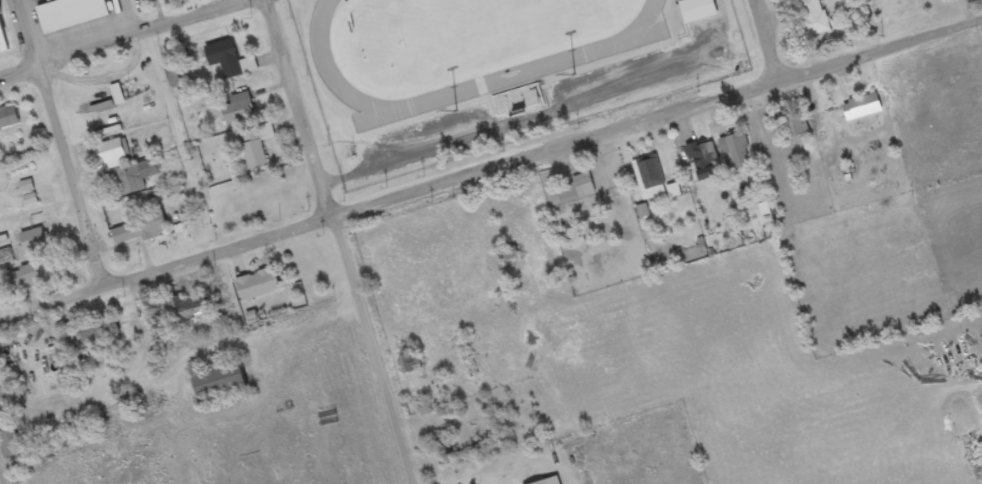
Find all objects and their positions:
building: (698, 12)
building: (71, 15)
building: (813, 18)
road: (772, 38)
road: (122, 39)
building: (3, 43)
building: (225, 60)
building: (175, 77)
building: (117, 96)
building: (862, 109)
road: (306, 111)
building: (239, 112)
building: (8, 119)
building: (797, 130)
road: (64, 144)
building: (256, 146)
building: (735, 151)
building: (113, 155)
building: (704, 159)
road: (491, 173)
building: (650, 175)
building: (136, 179)
building: (577, 191)
building: (140, 232)
building: (35, 239)
building: (33, 277)
building: (258, 287)
building: (192, 311)
building: (100, 333)
road: (176, 351)
road: (378, 353)
building: (219, 384)
building: (8, 433)
road: (4, 468)

